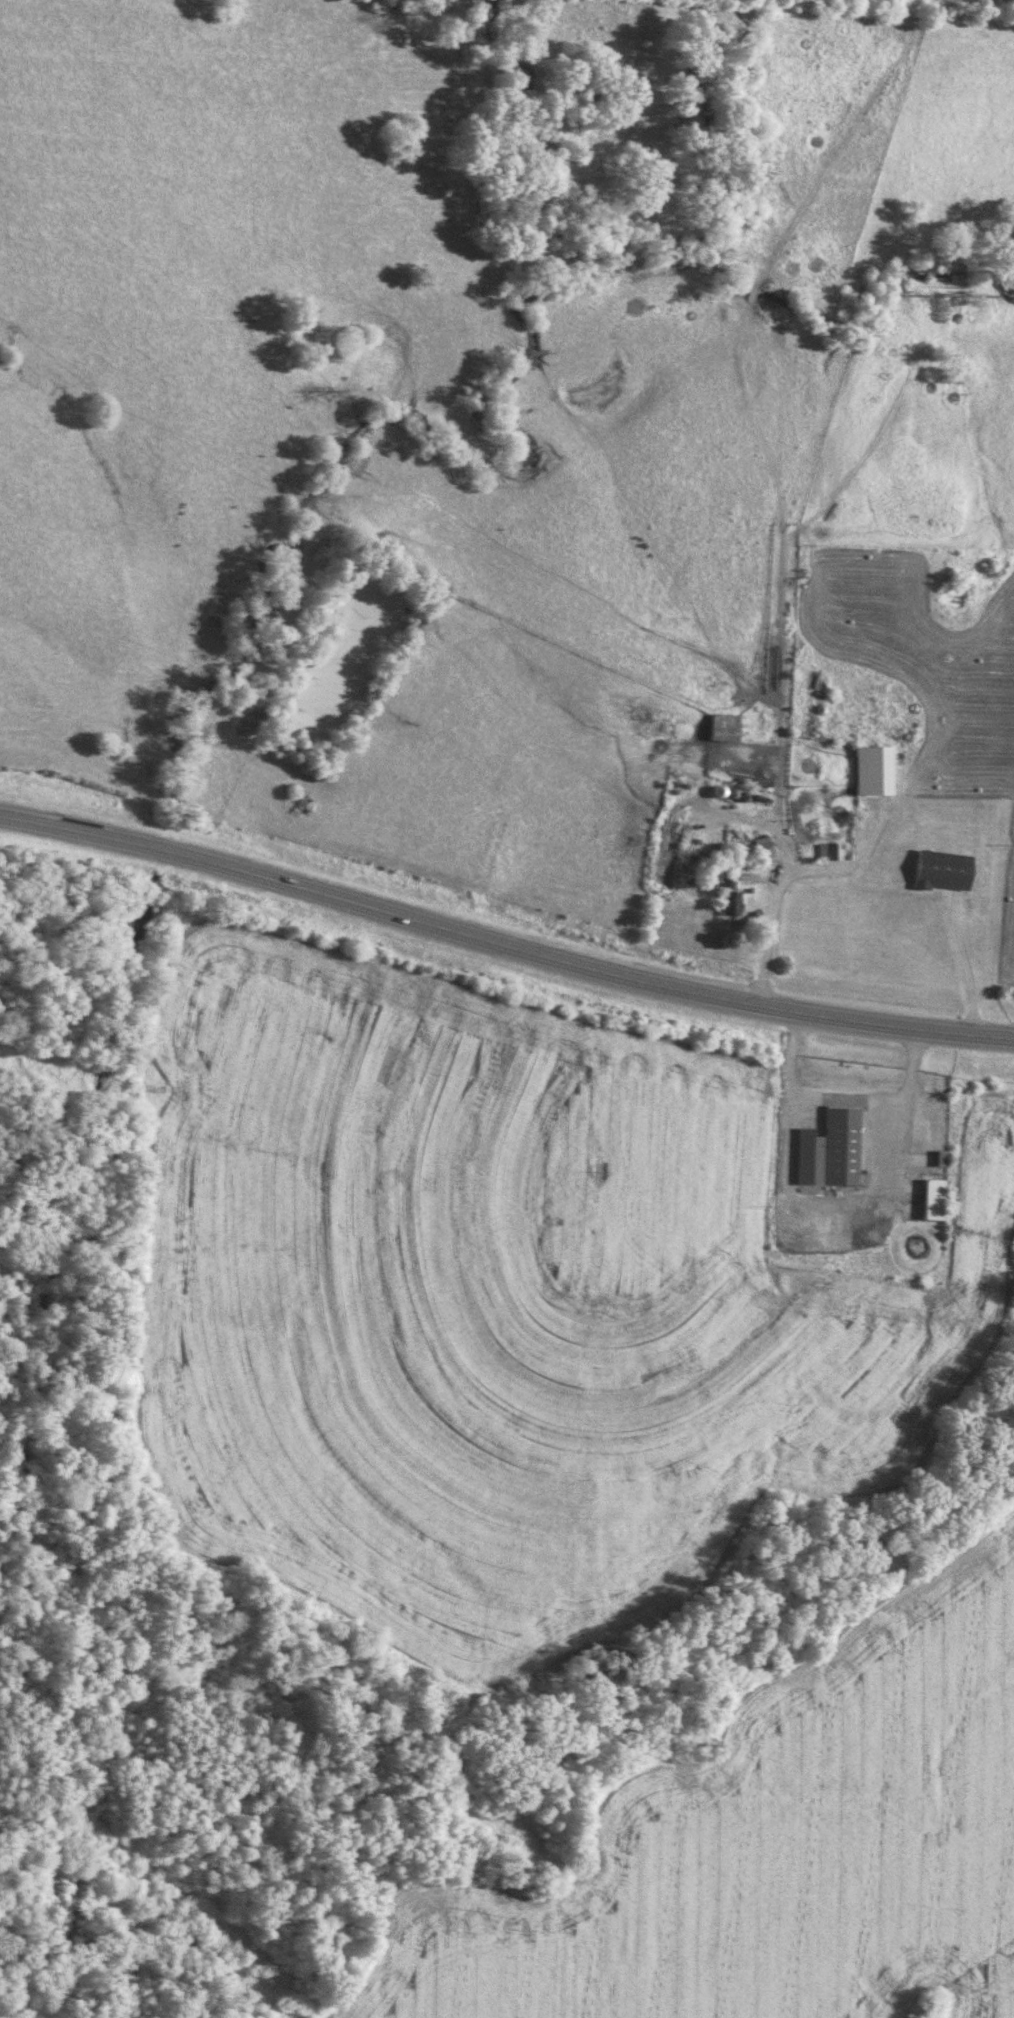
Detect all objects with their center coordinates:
building: (719, 728)
building: (866, 770)
building: (759, 851)
building: (830, 851)
building: (936, 870)
road: (789, 871)
road: (503, 948)
road: (962, 958)
road: (885, 1116)
building: (825, 1150)
building: (927, 1199)

